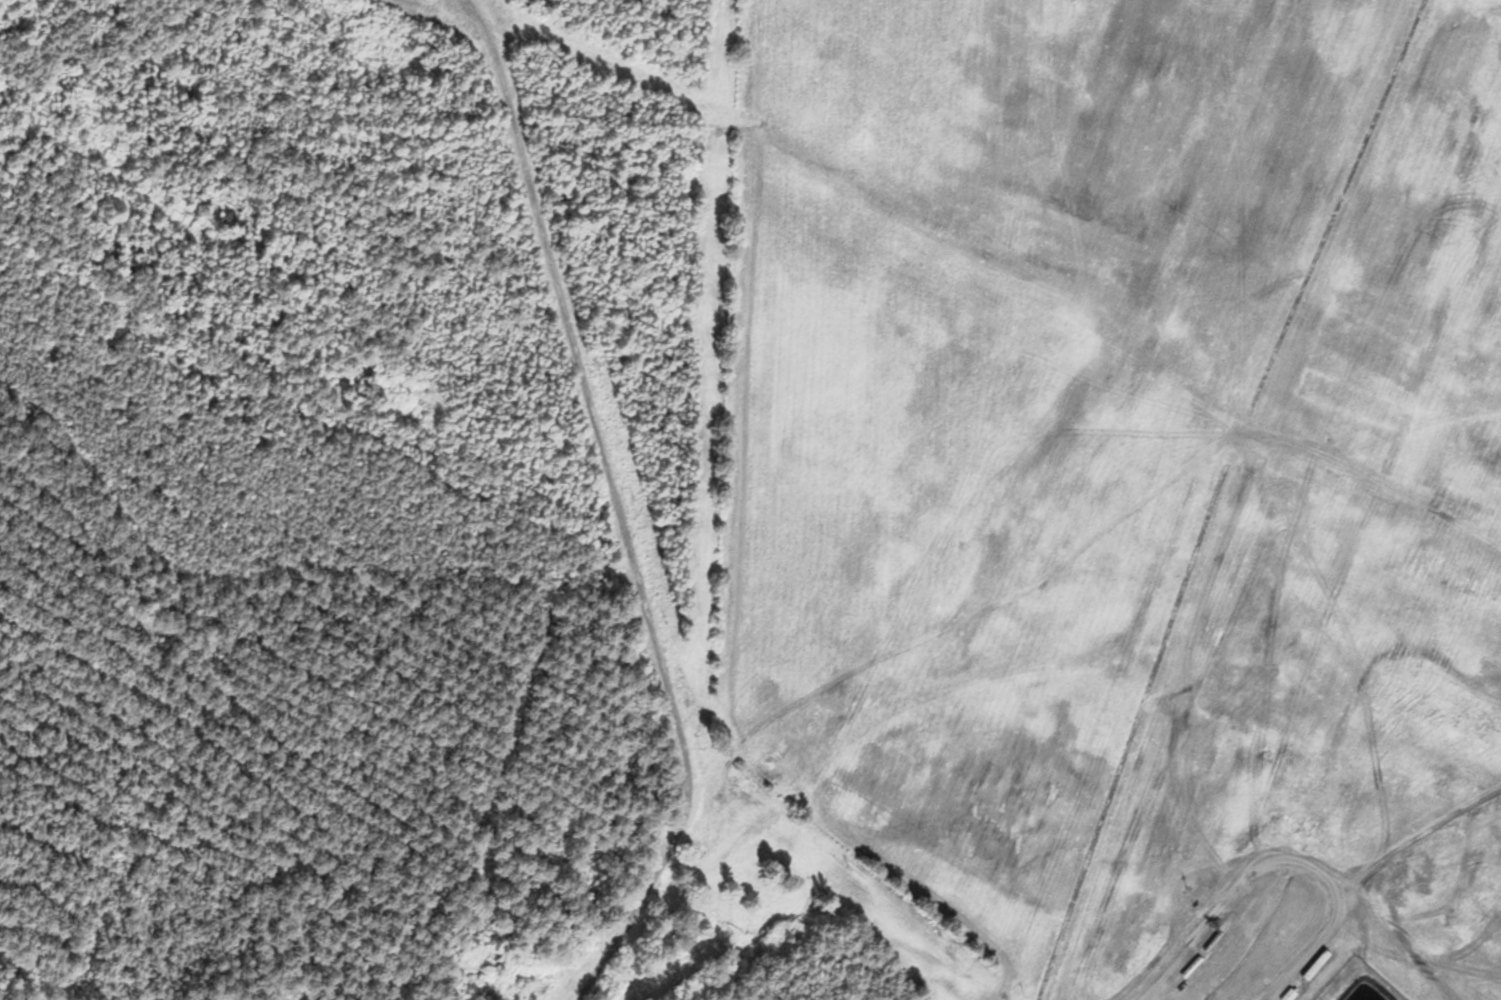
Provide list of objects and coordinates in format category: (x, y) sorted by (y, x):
road: (614, 506)

